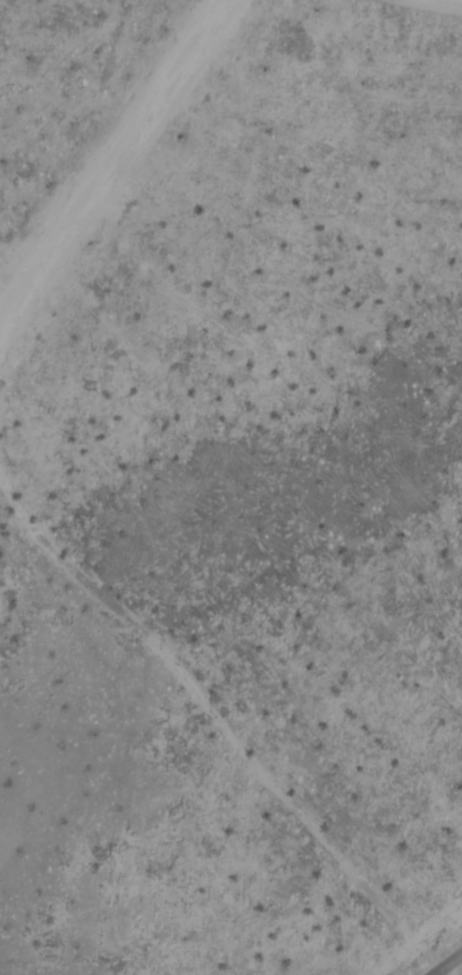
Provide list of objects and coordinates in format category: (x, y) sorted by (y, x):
road: (447, 964)

